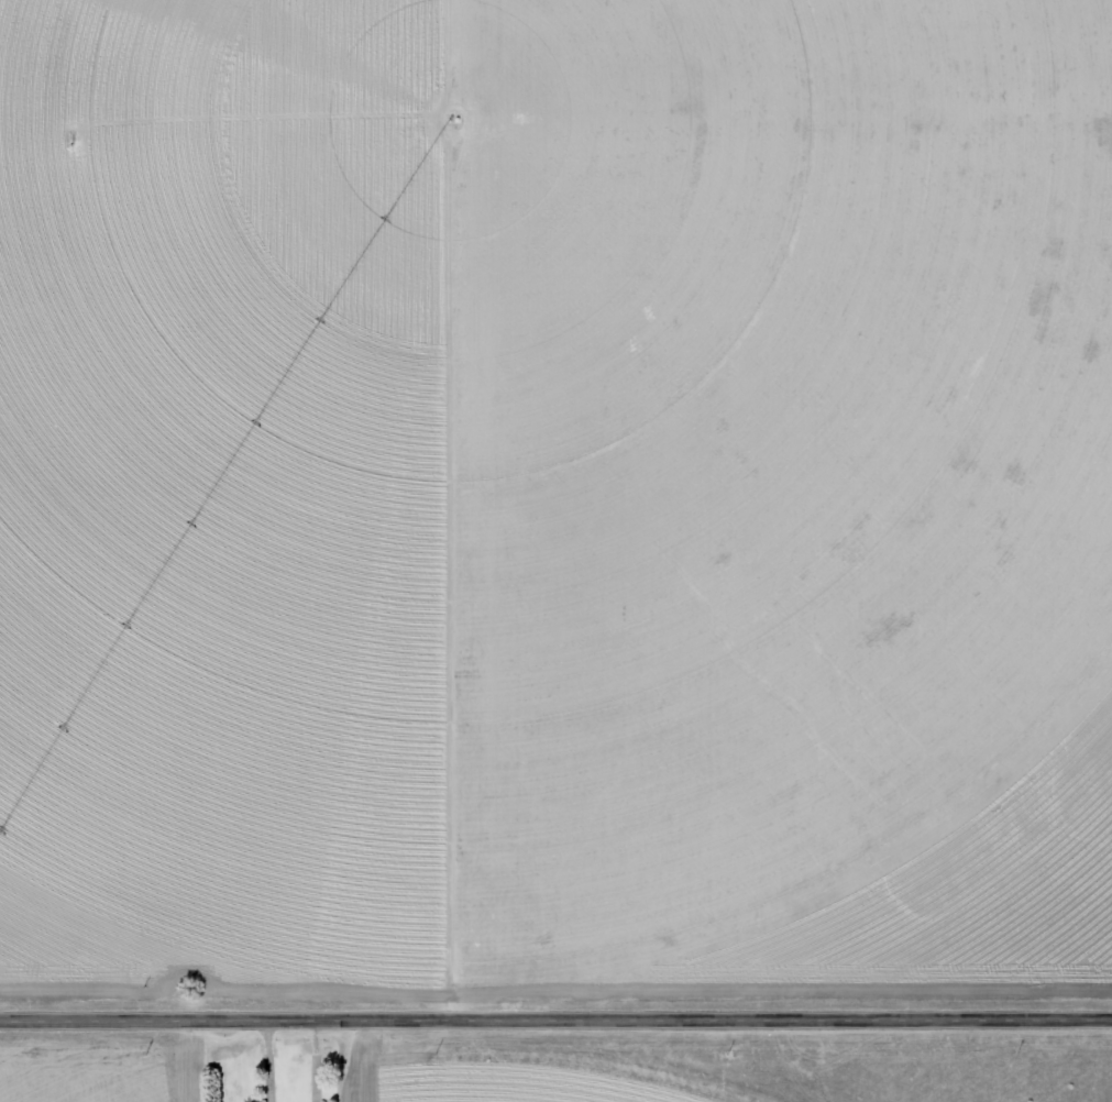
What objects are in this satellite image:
road: (555, 1027)
road: (264, 1065)
road: (316, 1065)

